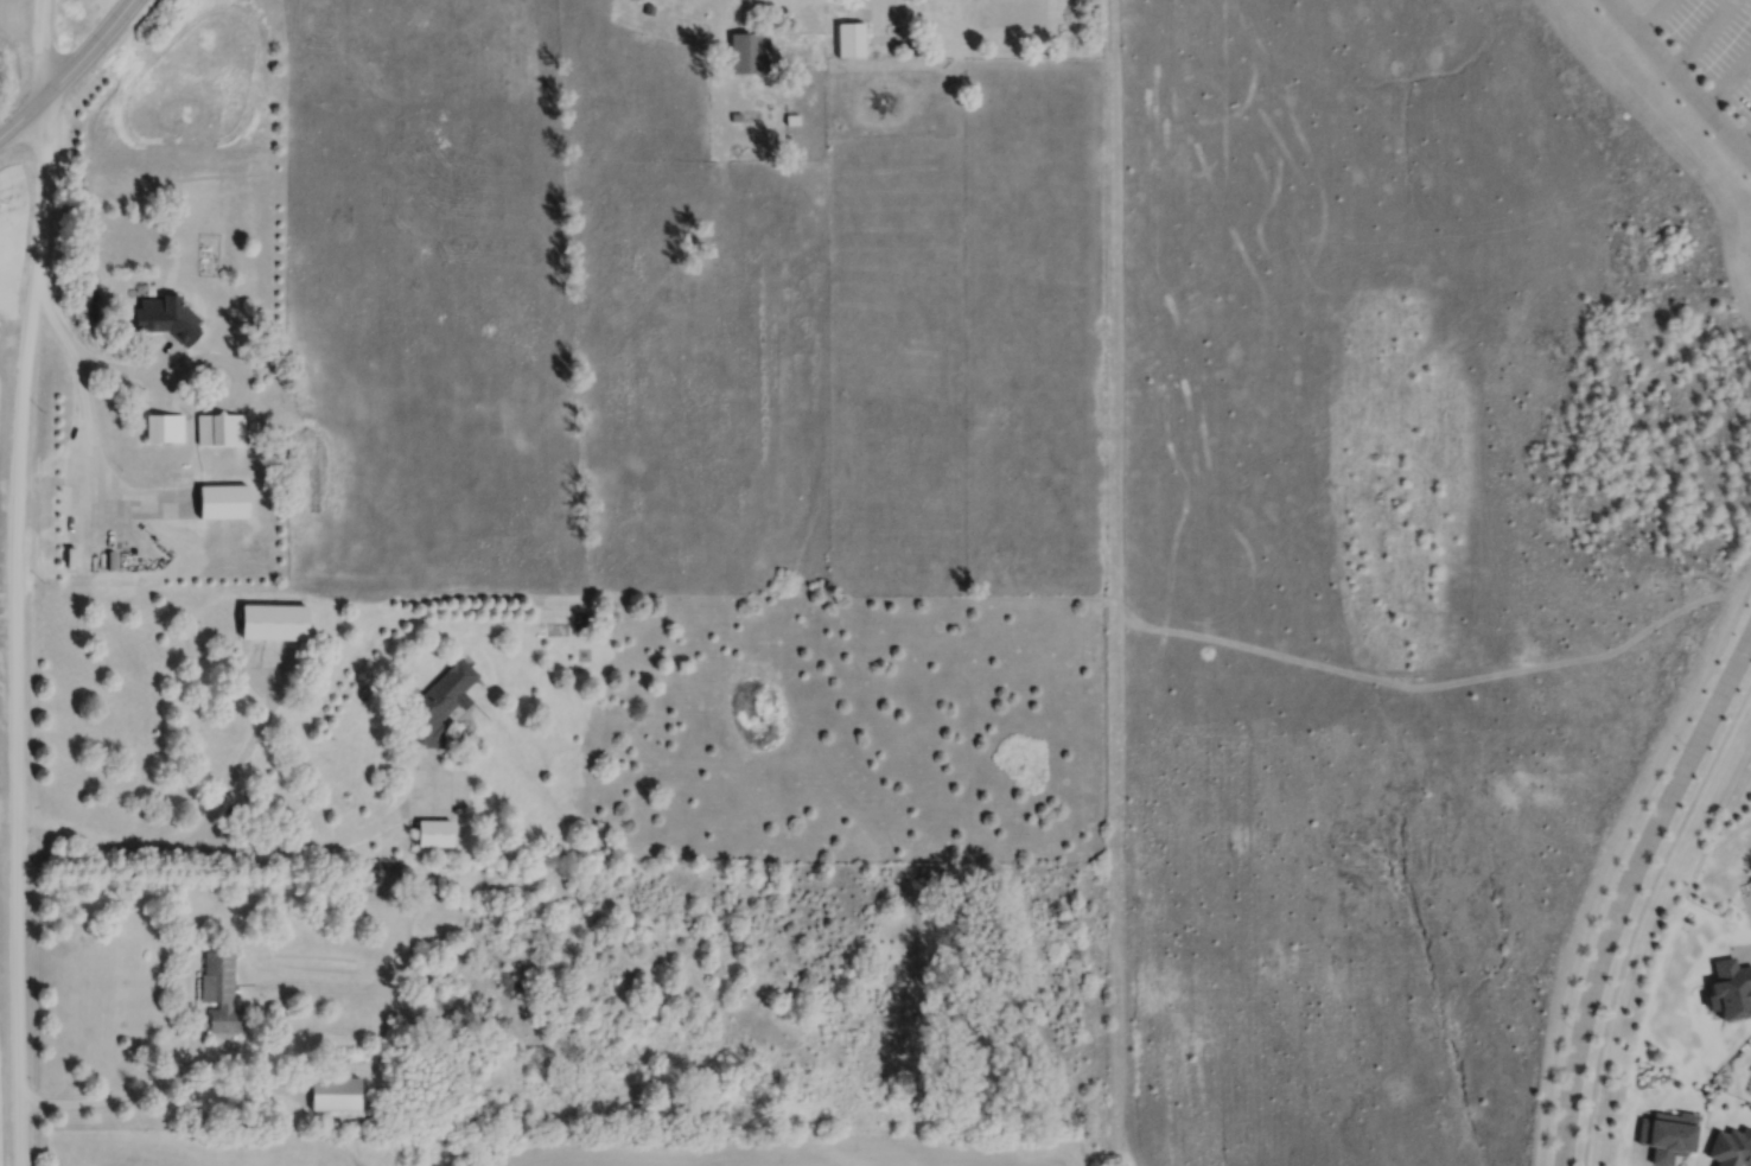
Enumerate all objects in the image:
road: (853, 6)
road: (1624, 14)
road: (1654, 14)
road: (899, 18)
road: (1705, 34)
building: (849, 38)
parking lot: (1715, 42)
building: (749, 51)
road: (68, 68)
road: (1728, 83)
road: (1694, 93)
road: (1745, 135)
road: (88, 352)
road: (12, 581)
building: (275, 622)
building: (432, 713)
road: (243, 748)
building: (435, 832)
road: (225, 843)
road: (1613, 864)
road: (1625, 888)
road: (1639, 918)
building: (1728, 988)
building: (222, 989)
building: (337, 1092)
road: (113, 1095)
building: (1666, 1134)
building: (1731, 1147)

